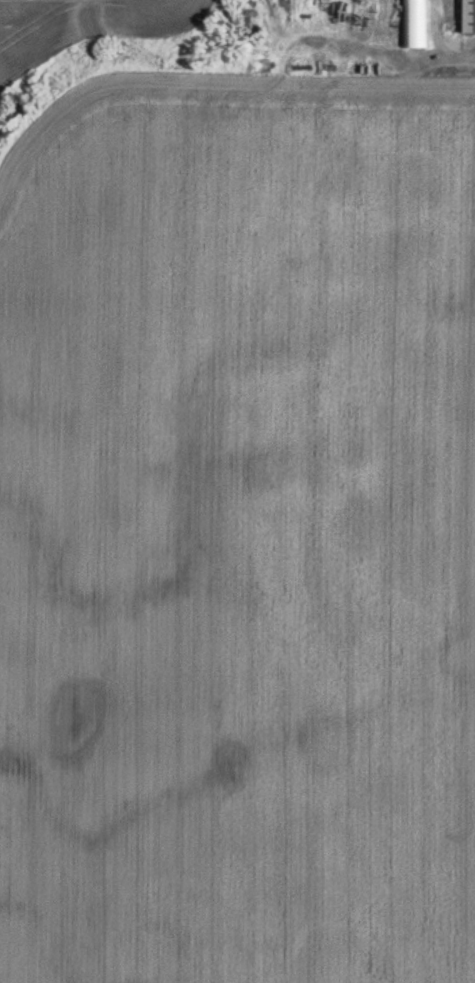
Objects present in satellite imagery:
building: (417, 23)

